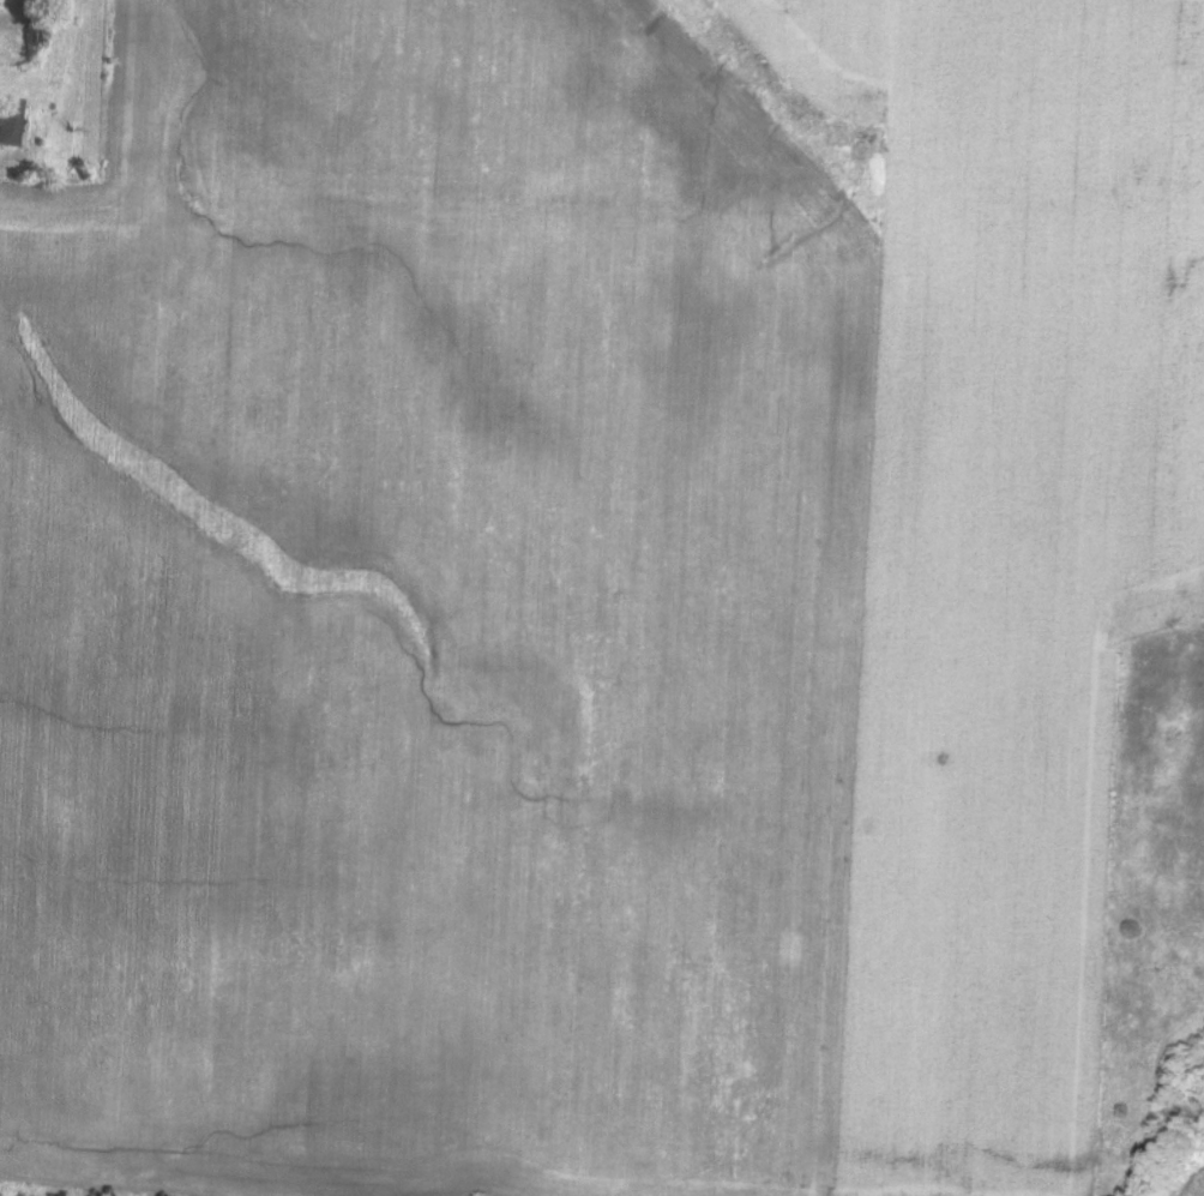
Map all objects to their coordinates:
building: (7, 122)

